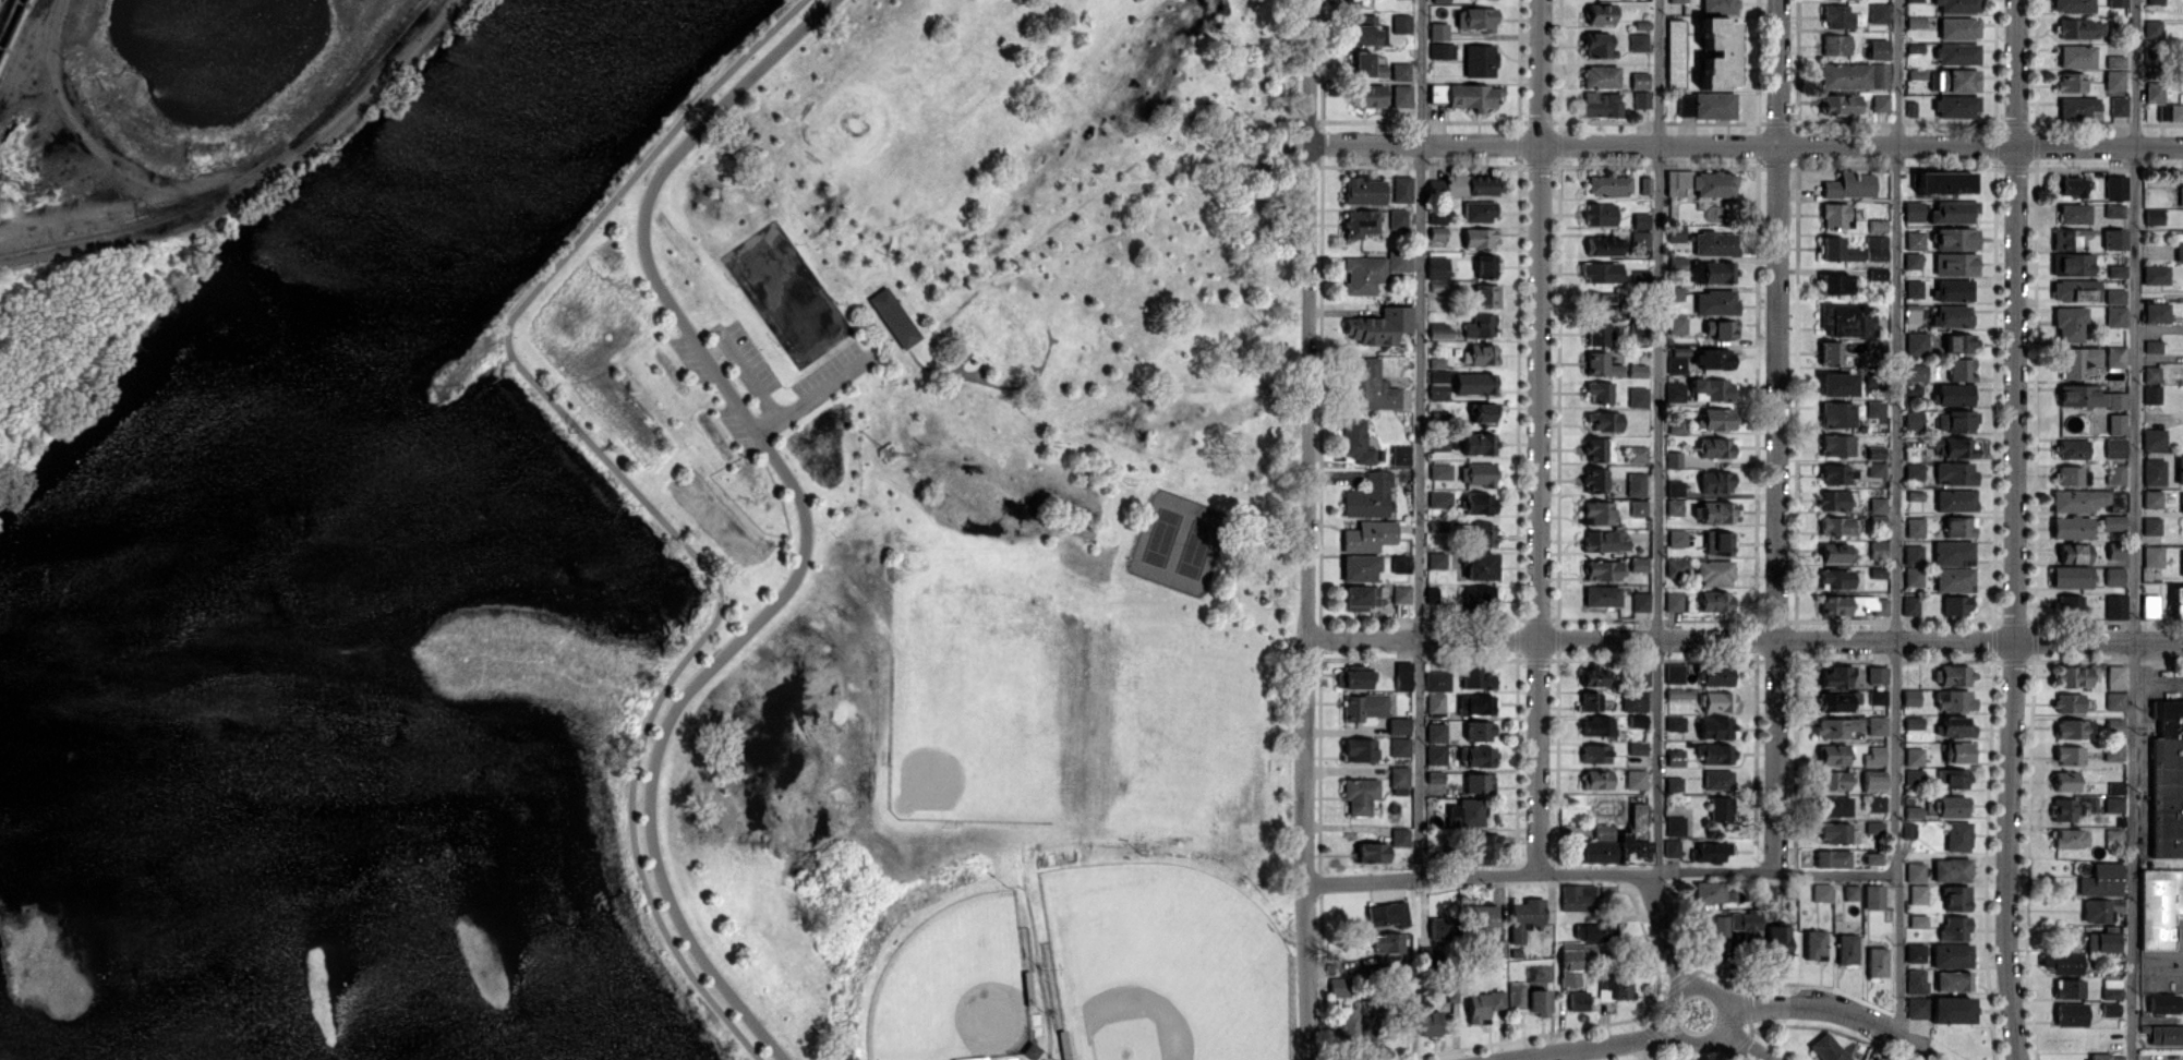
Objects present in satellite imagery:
building: (1915, 0)
building: (1677, 1)
building: (2156, 1)
building: (1358, 2)
building: (2116, 3)
building: (1718, 5)
building: (1957, 5)
building: (2073, 5)
building: (1878, 12)
building: (1600, 13)
building: (1841, 16)
building: (1476, 17)
building: (1401, 23)
railway: (12, 26)
building: (1958, 27)
building: (2081, 28)
building: (2152, 28)
building: (1363, 29)
building: (1438, 31)
building: (1638, 40)
building: (1835, 44)
building: (1597, 45)
building: (1877, 48)
building: (1442, 50)
building: (1675, 52)
building: (1717, 52)
building: (1957, 53)
building: (2076, 56)
building: (1480, 60)
building: (2115, 60)
building: (1366, 65)
building: (1400, 71)
building: (1917, 73)
building: (1854, 75)
building: (1601, 76)
building: (1639, 80)
building: (2114, 80)
building: (2071, 81)
building: (2155, 91)
building: (1367, 95)
building: (1401, 95)
building: (1466, 95)
building: (1641, 98)
building: (1880, 103)
building: (1601, 104)
building: (1685, 104)
building: (1840, 104)
building: (1714, 105)
building: (1956, 105)
building: (2077, 106)
building: (2119, 106)
building: (2174, 112)
road: (1746, 144)
railway: (244, 179)
building: (1701, 182)
building: (1943, 182)
building: (1468, 184)
building: (1608, 184)
building: (1644, 184)
building: (1849, 184)
building: (2069, 185)
building: (2115, 186)
building: (1402, 189)
building: (1363, 190)
building: (2181, 195)
road: (649, 196)
building: (1914, 210)
building: (1953, 210)
building: (2113, 210)
building: (1479, 212)
building: (1600, 213)
building: (2074, 213)
building: (1837, 215)
building: (2152, 215)
building: (1437, 217)
building: (1398, 218)
building: (1640, 220)
building: (1360, 222)
building: (1877, 226)
building: (1675, 232)
building: (1478, 237)
building: (1640, 238)
building: (1956, 238)
building: (2069, 238)
building: (2114, 238)
building: (1915, 240)
building: (1714, 243)
building: (1603, 245)
building: (1876, 246)
building: (1837, 250)
building: (2179, 251)
building: (1399, 260)
building: (1911, 260)
building: (1677, 263)
building: (1956, 263)
building: (2072, 264)
building: (1485, 265)
building: (1437, 267)
building: (2116, 269)
building: (1601, 272)
building: (1714, 272)
building: (1878, 273)
building: (1364, 274)
building: (2156, 274)
building: (1640, 276)
building: (1835, 282)
building: (1914, 288)
building: (1954, 289)
building: (2075, 290)
building: (1674, 292)
building: (1486, 294)
building: (2114, 296)
building: (1596, 301)
building: (1715, 301)
building: (2156, 312)
building: (1911, 313)
building: (1952, 315)
building: (2115, 316)
building: (894, 317)
building: (1841, 318)
building: (2070, 323)
building: (1676, 324)
building: (1868, 324)
building: (1379, 325)
building: (1480, 325)
building: (1718, 327)
building: (1439, 330)
building: (1638, 330)
building: (1599, 333)
building: (1916, 342)
building: (1959, 342)
building: (2152, 346)
building: (1679, 350)
building: (1830, 352)
building: (1482, 353)
building: (2114, 356)
building: (1713, 358)
building: (2077, 361)
building: (1436, 362)
building: (1601, 364)
building: (1676, 364)
building: (1961, 369)
building: (1637, 370)
building: (1915, 372)
building: (2151, 373)
road: (751, 376)
building: (1474, 383)
building: (1836, 383)
building: (1437, 384)
building: (1373, 386)
building: (1713, 387)
building: (1913, 388)
building: (1675, 390)
road: (812, 392)
building: (1600, 392)
building: (1954, 394)
building: (2151, 394)
building: (2088, 396)
building: (1638, 397)
building: (1876, 408)
building: (1483, 412)
building: (1836, 413)
building: (1715, 419)
building: (1914, 419)
building: (1956, 420)
building: (1604, 421)
building: (2116, 423)
building: (1677, 425)
road: (1659, 435)
road: (1776, 435)
road: (1539, 436)
building: (2154, 438)
road: (1421, 439)
building: (1356, 441)
building: (1479, 443)
building: (1836, 444)
building: (1953, 446)
building: (1715, 447)
building: (2115, 447)
building: (1600, 448)
building: (2072, 448)
building: (1876, 451)
building: (1637, 454)
building: (1401, 455)
building: (1674, 458)
building: (1876, 469)
building: (2180, 469)
building: (1440, 470)
building: (1914, 470)
building: (2154, 471)
building: (1476, 472)
building: (1835, 472)
building: (1955, 472)
building: (2116, 473)
building: (2072, 474)
building: (1594, 479)
building: (1716, 481)
building: (1636, 484)
building: (1675, 487)
road: (638, 494)
building: (1368, 496)
building: (1440, 498)
building: (2151, 498)
building: (1833, 499)
building: (1955, 499)
building: (2087, 499)
building: (2181, 502)
building: (1478, 503)
building: (1877, 504)
building: (1674, 506)
building: (1638, 507)
building: (1599, 511)
building: (1877, 519)
road: (1897, 520)
road: (809, 522)
building: (2112, 522)
park: (958, 523)
building: (1836, 525)
building: (1959, 526)
building: (2151, 526)
building: (1915, 527)
building: (2072, 527)
road: (1310, 530)
road: (2014, 530)
road: (2135, 530)
building: (1483, 534)
building: (1368, 535)
building: (1677, 538)
park: (1179, 541)
building: (1604, 541)
building: (1717, 542)
building: (1878, 549)
building: (1834, 552)
building: (1953, 553)
building: (2073, 553)
building: (1913, 554)
building: (2152, 556)
building: (1437, 559)
building: (2182, 562)
building: (1401, 563)
building: (1639, 564)
building: (1480, 566)
building: (1360, 567)
building: (1676, 567)
building: (1602, 569)
building: (1714, 573)
building: (1913, 576)
building: (2113, 576)
building: (1835, 577)
building: (2071, 577)
building: (1954, 578)
building: (1401, 593)
building: (1602, 595)
building: (1360, 597)
building: (1479, 598)
building: (1715, 600)
building: (1640, 601)
building: (1675, 601)
building: (2176, 602)
building: (1853, 604)
building: (1909, 604)
building: (1956, 604)
building: (2070, 604)
building: (2149, 605)
building: (2115, 606)
road: (1746, 638)
building: (1674, 673)
building: (1877, 674)
building: (1403, 675)
building: (1713, 675)
building: (1834, 675)
building: (1952, 675)
building: (1353, 676)
building: (1476, 676)
building: (1593, 676)
building: (1641, 676)
building: (2073, 676)
building: (2115, 676)
building: (1437, 680)
road: (2159, 687)
building: (1877, 696)
building: (1910, 697)
building: (1953, 699)
building: (1633, 700)
building: (1837, 700)
building: (2114, 700)
building: (1594, 701)
building: (1716, 701)
building: (1435, 702)
building: (2069, 702)
building: (1475, 704)
building: (1363, 706)
building: (1637, 720)
building: (1913, 722)
building: (1675, 723)
building: (1399, 725)
building: (1877, 725)
building: (1597, 726)
building: (1837, 726)
building: (1954, 726)
building: (2114, 726)
building: (1716, 727)
building: (2074, 728)
building: (1480, 730)
building: (1436, 732)
building: (1400, 746)
building: (1359, 749)
building: (1959, 751)
building: (2112, 751)
building: (1595, 752)
building: (1715, 752)
building: (1436, 754)
building: (1832, 754)
building: (2069, 755)
building: (1476, 756)
building: (1874, 756)
building: (1914, 756)
building: (1675, 757)
building: (1435, 775)
building: (1914, 775)
building: (1399, 776)
building: (1952, 778)
building: (1595, 779)
building: (1636, 779)
building: (1717, 779)
building: (1832, 780)
building: (1873, 780)
building: (2065, 780)
building: (2167, 780)
building: (1479, 782)
building: (1673, 784)
building: (2115, 787)
building: (1359, 794)
building: (1876, 803)
building: (2113, 804)
building: (1834, 806)
building: (1952, 806)
building: (1720, 808)
building: (2066, 809)
building: (1466, 812)
building: (1675, 826)
building: (1874, 827)
building: (1603, 831)
building: (1836, 832)
building: (1957, 835)
building: (1400, 836)
building: (2071, 838)
building: (2112, 838)
road: (655, 839)
building: (1672, 847)
building: (1485, 848)
building: (1631, 850)
building: (1594, 851)
building: (1372, 852)
building: (1709, 852)
building: (1832, 858)
building: (1873, 858)
building: (1951, 869)
building: (1915, 871)
road: (1541, 872)
road: (1837, 872)
building: (2101, 880)
building: (1712, 891)
building: (1821, 892)
building: (1852, 892)
building: (1918, 893)
building: (1578, 896)
building: (1874, 896)
building: (1956, 898)
building: (2159, 906)
building: (2101, 910)
building: (1388, 914)
building: (1481, 916)
building: (1524, 917)
building: (1918, 920)
building: (1714, 926)
building: (1442, 927)
building: (1955, 928)
road: (1668, 929)
building: (1594, 930)
building: (2102, 939)
building: (1778, 941)
building: (1387, 942)
building: (1814, 944)
building: (1496, 947)
building: (1847, 948)
building: (1915, 952)
building: (1428, 953)
building: (1952, 955)
building: (1572, 960)
building: (1877, 962)
building: (2062, 962)
park: (1160, 965)
building: (1916, 980)
building: (1953, 980)
park: (956, 986)
building: (1339, 986)
building: (1615, 986)
building: (2070, 988)
building: (2111, 988)
building: (1528, 998)
building: (1578, 1000)
building: (2166, 1002)
building: (1483, 1004)
building: (1917, 1007)
building: (1951, 1009)
building: (2110, 1009)
road: (1834, 1010)
building: (2070, 1013)
road: (1727, 1016)
building: (1430, 1023)
building: (1344, 1025)
building: (1367, 1028)
building: (2166, 1034)
road: (1593, 1045)
road: (1744, 1047)
road: (1647, 1048)
building: (1826, 1048)
building: (2098, 1056)
building: (1874, 1059)

